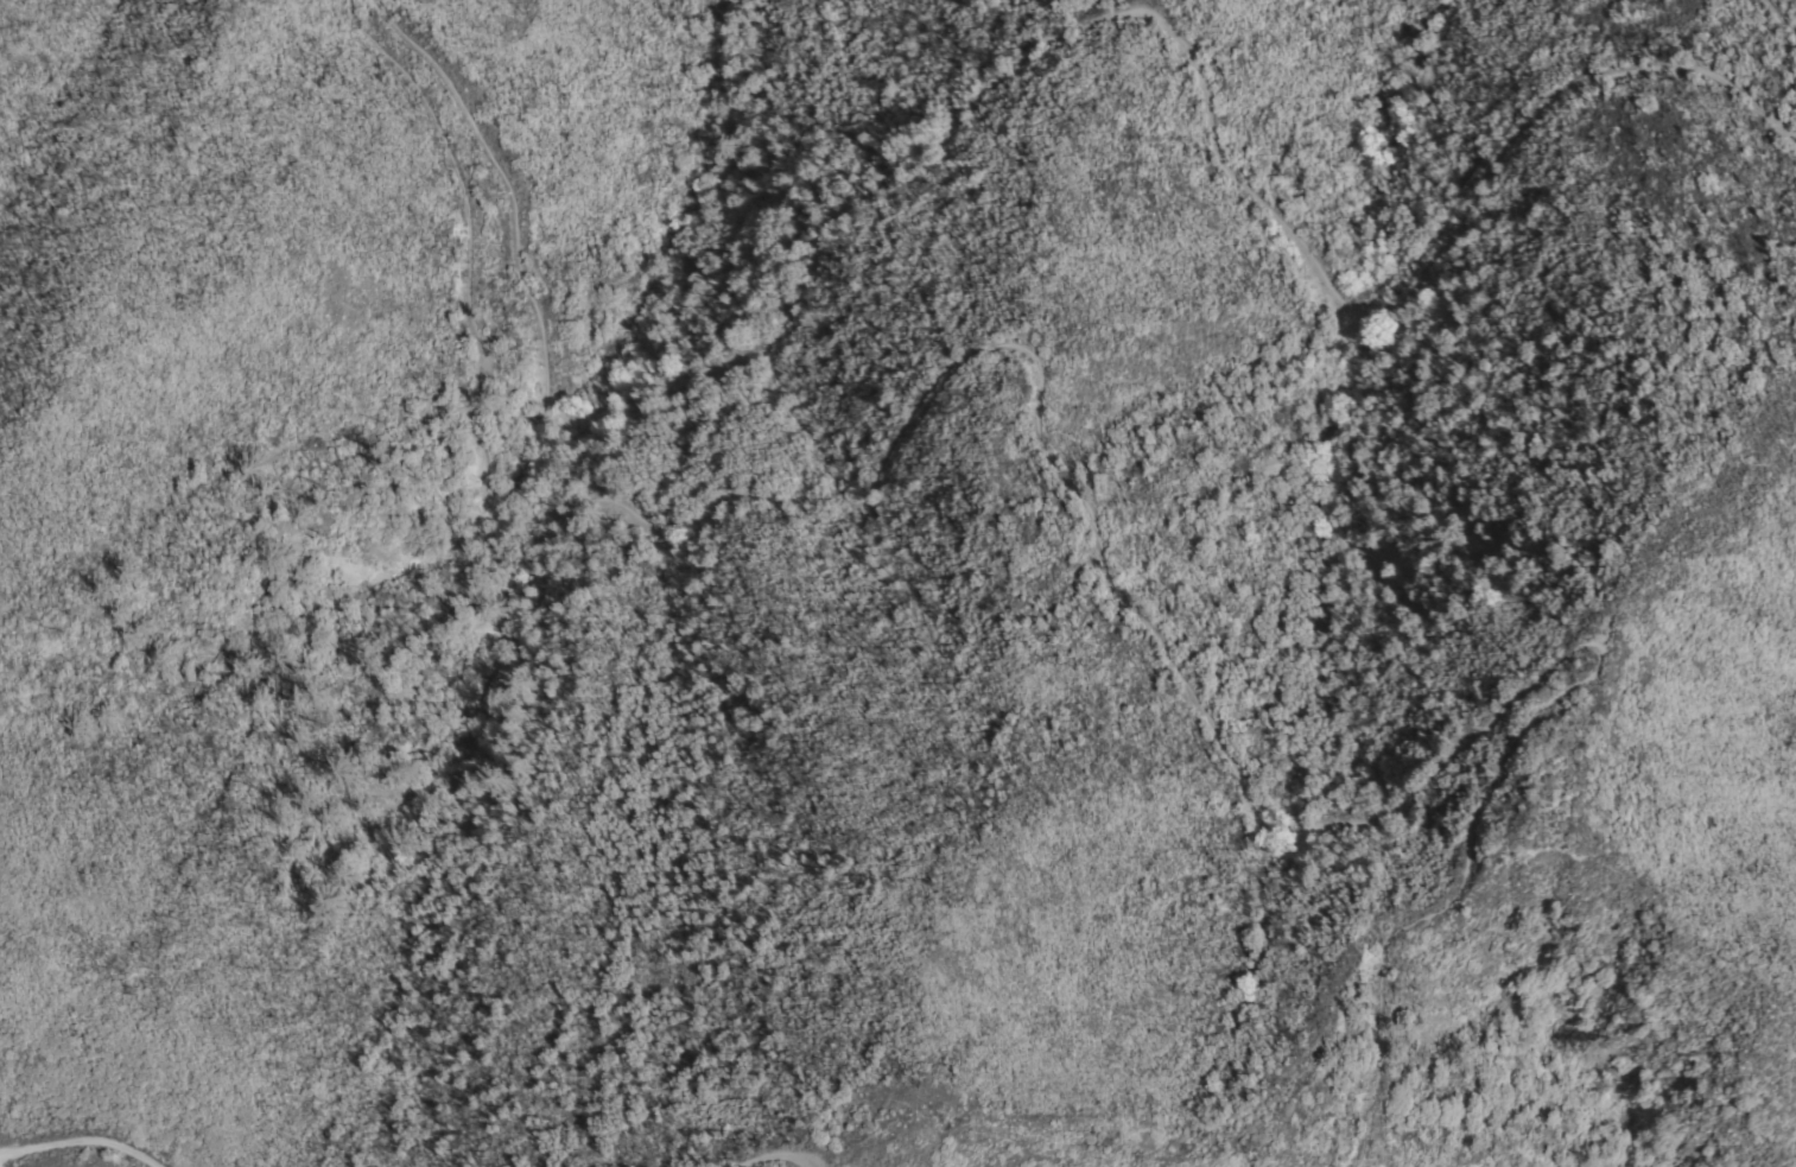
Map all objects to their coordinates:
road: (1781, 15)
road: (1022, 56)
road: (1078, 489)
road: (85, 1133)
road: (749, 1152)
road: (802, 1153)

